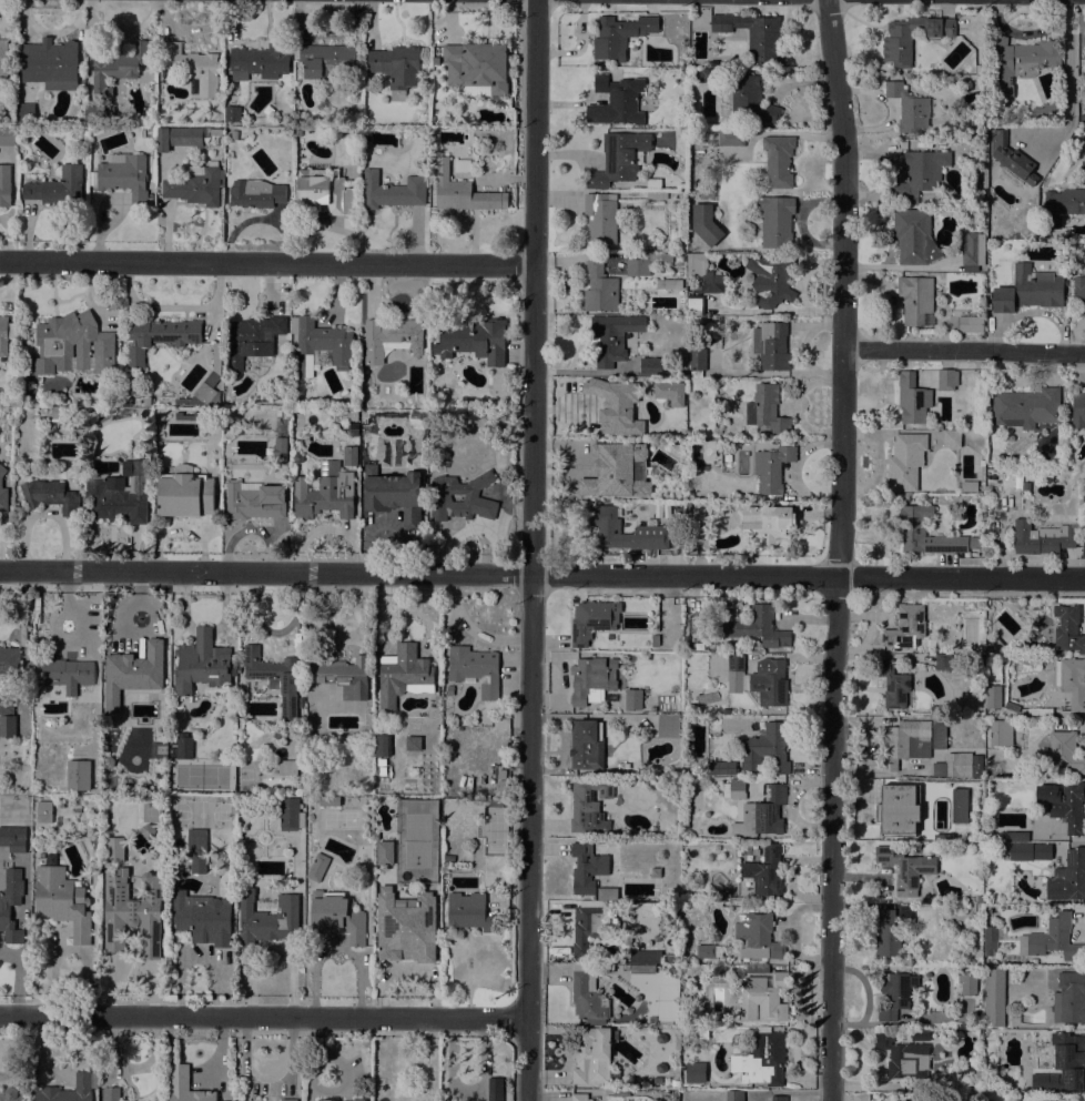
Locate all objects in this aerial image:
road: (1028, 32)
building: (754, 34)
building: (619, 36)
building: (896, 42)
building: (3, 58)
building: (327, 60)
building: (435, 60)
building: (258, 61)
building: (1018, 62)
building: (50, 63)
building: (118, 65)
building: (192, 67)
building: (396, 68)
building: (477, 69)
building: (706, 74)
road: (1069, 89)
building: (750, 100)
building: (616, 101)
building: (909, 108)
building: (1047, 111)
building: (24, 113)
building: (92, 113)
building: (232, 113)
building: (993, 113)
building: (284, 117)
building: (978, 117)
building: (215, 132)
building: (297, 132)
building: (234, 134)
building: (8, 135)
building: (178, 137)
building: (731, 138)
building: (618, 158)
building: (778, 161)
building: (1011, 161)
building: (462, 165)
building: (1083, 172)
building: (920, 173)
building: (124, 175)
building: (653, 183)
building: (4, 185)
building: (196, 185)
building: (57, 186)
building: (323, 191)
building: (393, 191)
building: (463, 192)
building: (255, 193)
building: (657, 195)
building: (1064, 204)
building: (600, 216)
building: (775, 221)
building: (704, 224)
building: (914, 238)
building: (972, 251)
building: (643, 261)
road: (266, 263)
building: (702, 275)
building: (771, 280)
building: (673, 284)
building: (599, 289)
building: (937, 290)
building: (1028, 290)
building: (1079, 292)
building: (916, 300)
building: (694, 305)
building: (970, 324)
building: (3, 336)
building: (159, 336)
building: (612, 336)
building: (391, 339)
building: (251, 340)
building: (471, 340)
building: (75, 343)
building: (321, 344)
building: (771, 345)
road: (963, 351)
building: (697, 361)
building: (649, 366)
road: (1076, 367)
building: (946, 380)
building: (206, 384)
building: (670, 393)
building: (912, 398)
building: (148, 402)
building: (615, 405)
building: (1025, 407)
building: (765, 410)
building: (1078, 410)
building: (351, 415)
building: (186, 416)
building: (77, 424)
building: (353, 430)
building: (951, 438)
building: (280, 443)
building: (348, 455)
building: (905, 462)
building: (772, 467)
building: (617, 469)
building: (969, 486)
building: (2, 492)
building: (120, 493)
building: (184, 493)
building: (324, 493)
building: (393, 494)
building: (905, 494)
building: (443, 495)
building: (50, 496)
building: (905, 498)
building: (924, 499)
building: (254, 501)
building: (953, 505)
building: (768, 525)
building: (914, 528)
building: (651, 529)
building: (1042, 537)
building: (976, 538)
road: (529, 549)
road: (839, 549)
road: (541, 576)
building: (1025, 605)
building: (592, 619)
building: (754, 626)
building: (905, 627)
building: (1067, 628)
building: (655, 640)
building: (995, 644)
building: (718, 648)
building: (732, 648)
building: (988, 650)
building: (1002, 658)
building: (10, 660)
building: (943, 661)
building: (202, 663)
building: (135, 669)
building: (475, 669)
building: (64, 674)
building: (403, 675)
building: (343, 676)
building: (274, 678)
building: (758, 680)
building: (1071, 680)
building: (587, 681)
building: (893, 684)
building: (449, 690)
building: (992, 697)
building: (632, 699)
building: (7, 705)
building: (1011, 706)
building: (724, 711)
building: (1040, 713)
building: (7, 726)
building: (668, 726)
building: (1001, 733)
building: (277, 734)
building: (939, 736)
building: (172, 740)
building: (902, 743)
building: (586, 745)
building: (183, 746)
building: (382, 746)
building: (765, 748)
building: (172, 751)
building: (1063, 751)
building: (953, 765)
building: (976, 765)
building: (286, 767)
building: (722, 768)
building: (734, 789)
building: (328, 800)
building: (1064, 804)
building: (957, 805)
building: (589, 807)
building: (899, 809)
building: (43, 811)
building: (762, 814)
building: (291, 816)
building: (987, 832)
building: (1014, 836)
building: (12, 838)
building: (112, 849)
building: (744, 849)
building: (1020, 850)
building: (1042, 851)
building: (383, 852)
building: (196, 853)
building: (905, 866)
building: (317, 868)
building: (586, 868)
building: (765, 871)
building: (1068, 877)
building: (925, 893)
building: (61, 899)
building: (592, 902)
building: (10, 903)
building: (132, 912)
building: (468, 912)
building: (335, 916)
building: (202, 918)
building: (265, 921)
building: (406, 926)
building: (587, 928)
building: (888, 935)
building: (757, 938)
building: (1038, 939)
building: (708, 951)
building: (645, 957)
building: (669, 958)
building: (1034, 961)
building: (641, 969)
building: (738, 969)
building: (757, 969)
building: (966, 983)
building: (895, 993)
building: (762, 997)
building: (586, 998)
building: (994, 998)
building: (1069, 999)
road: (263, 1017)
building: (594, 1057)
building: (903, 1057)
building: (764, 1059)
building: (1064, 1063)
building: (967, 1069)
building: (696, 1072)
building: (940, 1081)
building: (675, 1083)
building: (185, 1085)
building: (494, 1089)
building: (67, 1090)
building: (110, 1093)
building: (11, 1094)
building: (734, 1095)
building: (579, 1097)
building: (779, 1098)
building: (249, 1100)
building: (287, 1100)
building: (342, 1100)

